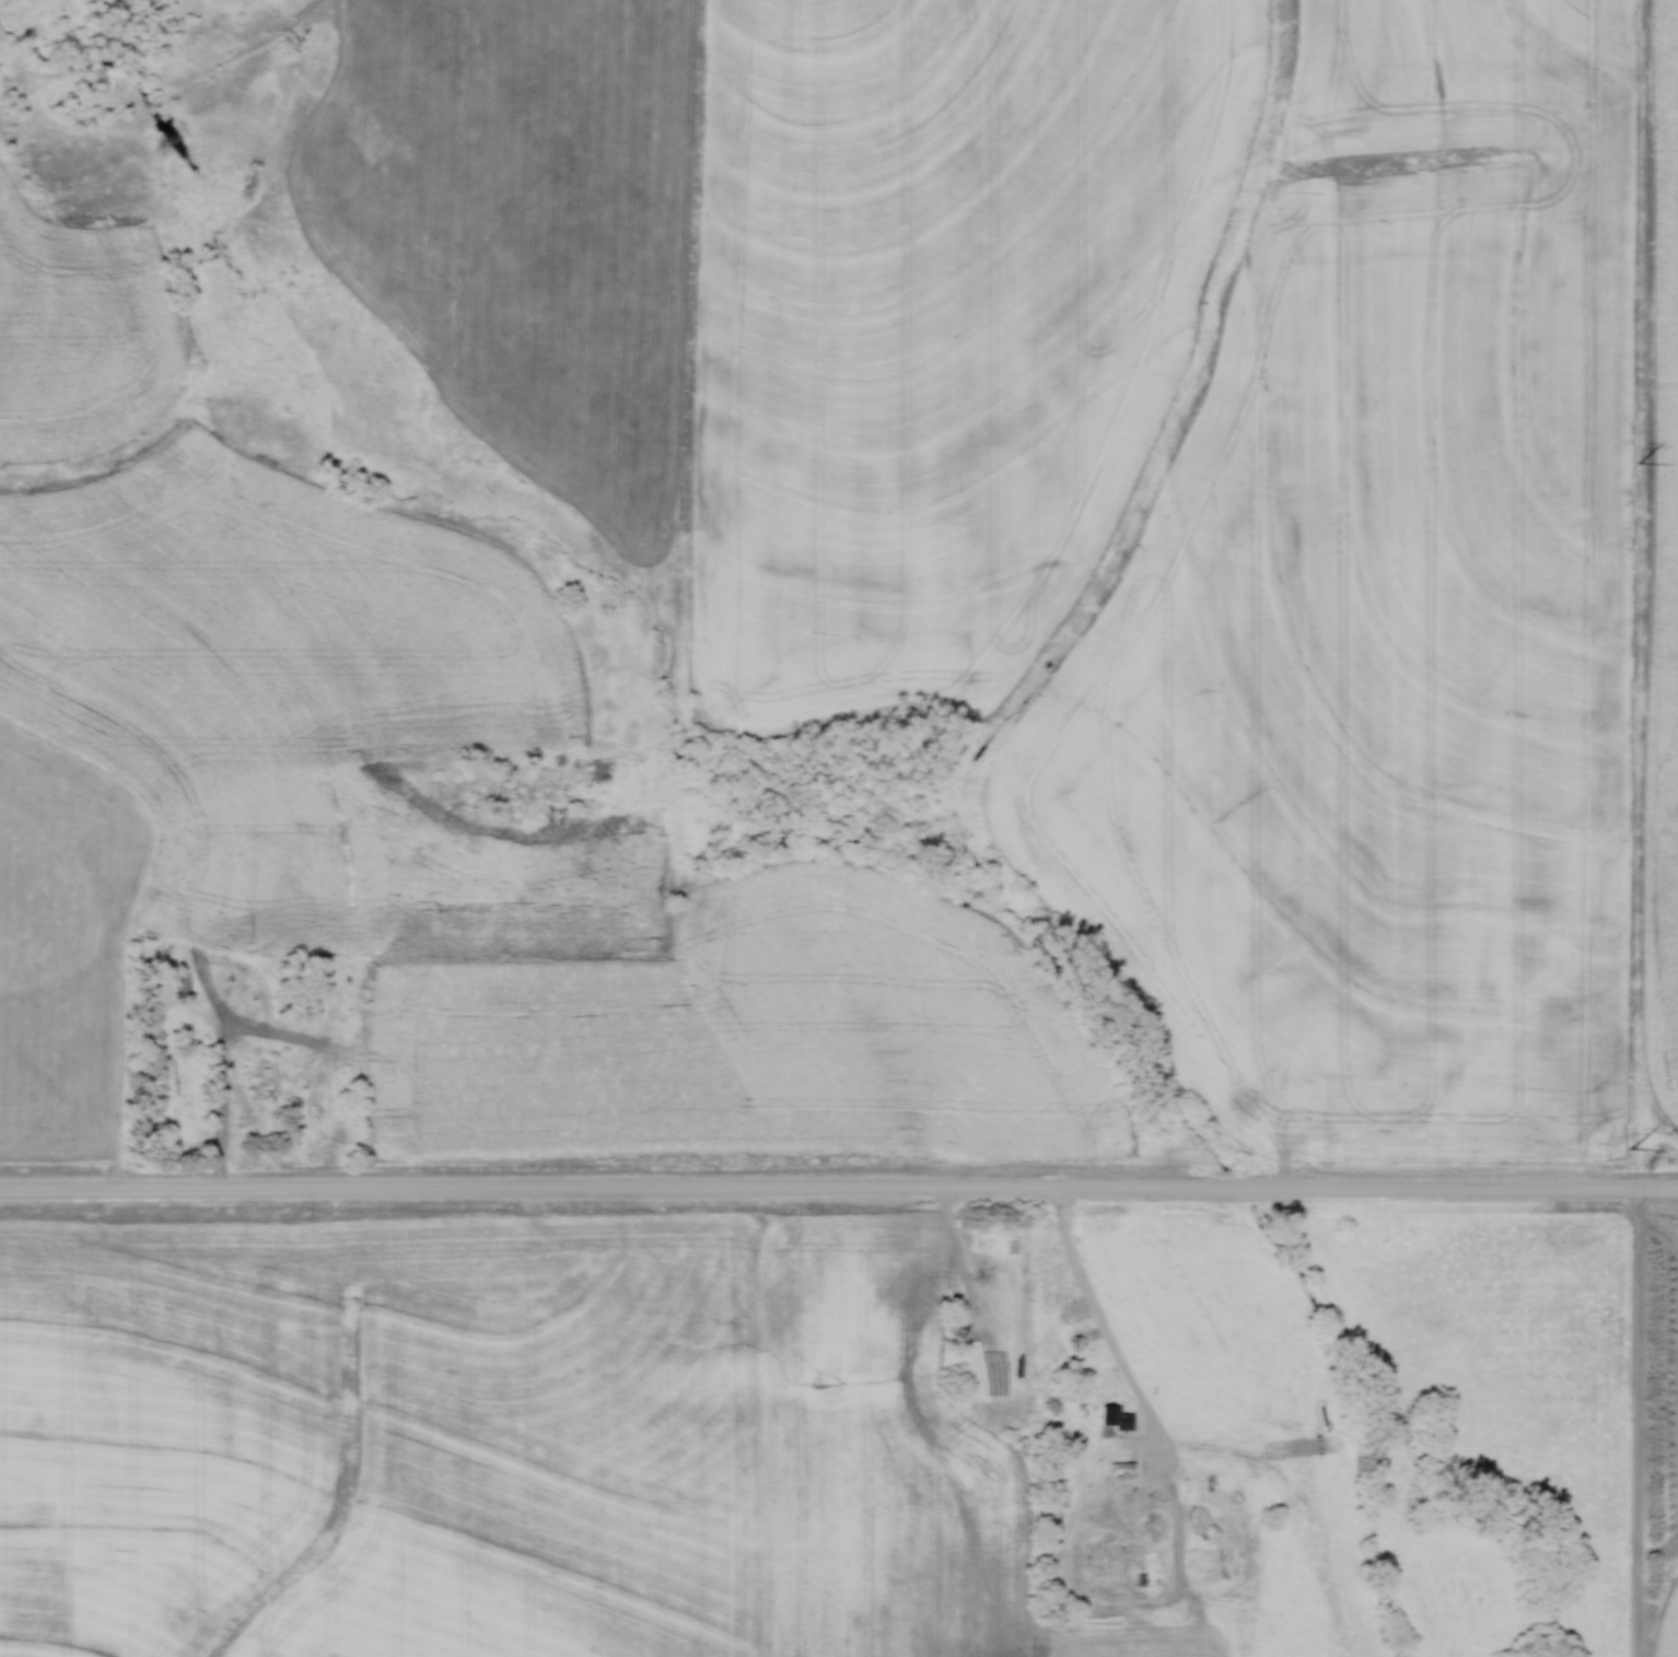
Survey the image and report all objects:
power tower: (1638, 460)
building: (268, 867)
building: (217, 921)
building: (187, 984)
road: (231, 1116)
power tower: (1628, 1147)
road: (839, 1191)
road: (1107, 1323)
building: (1111, 1417)

